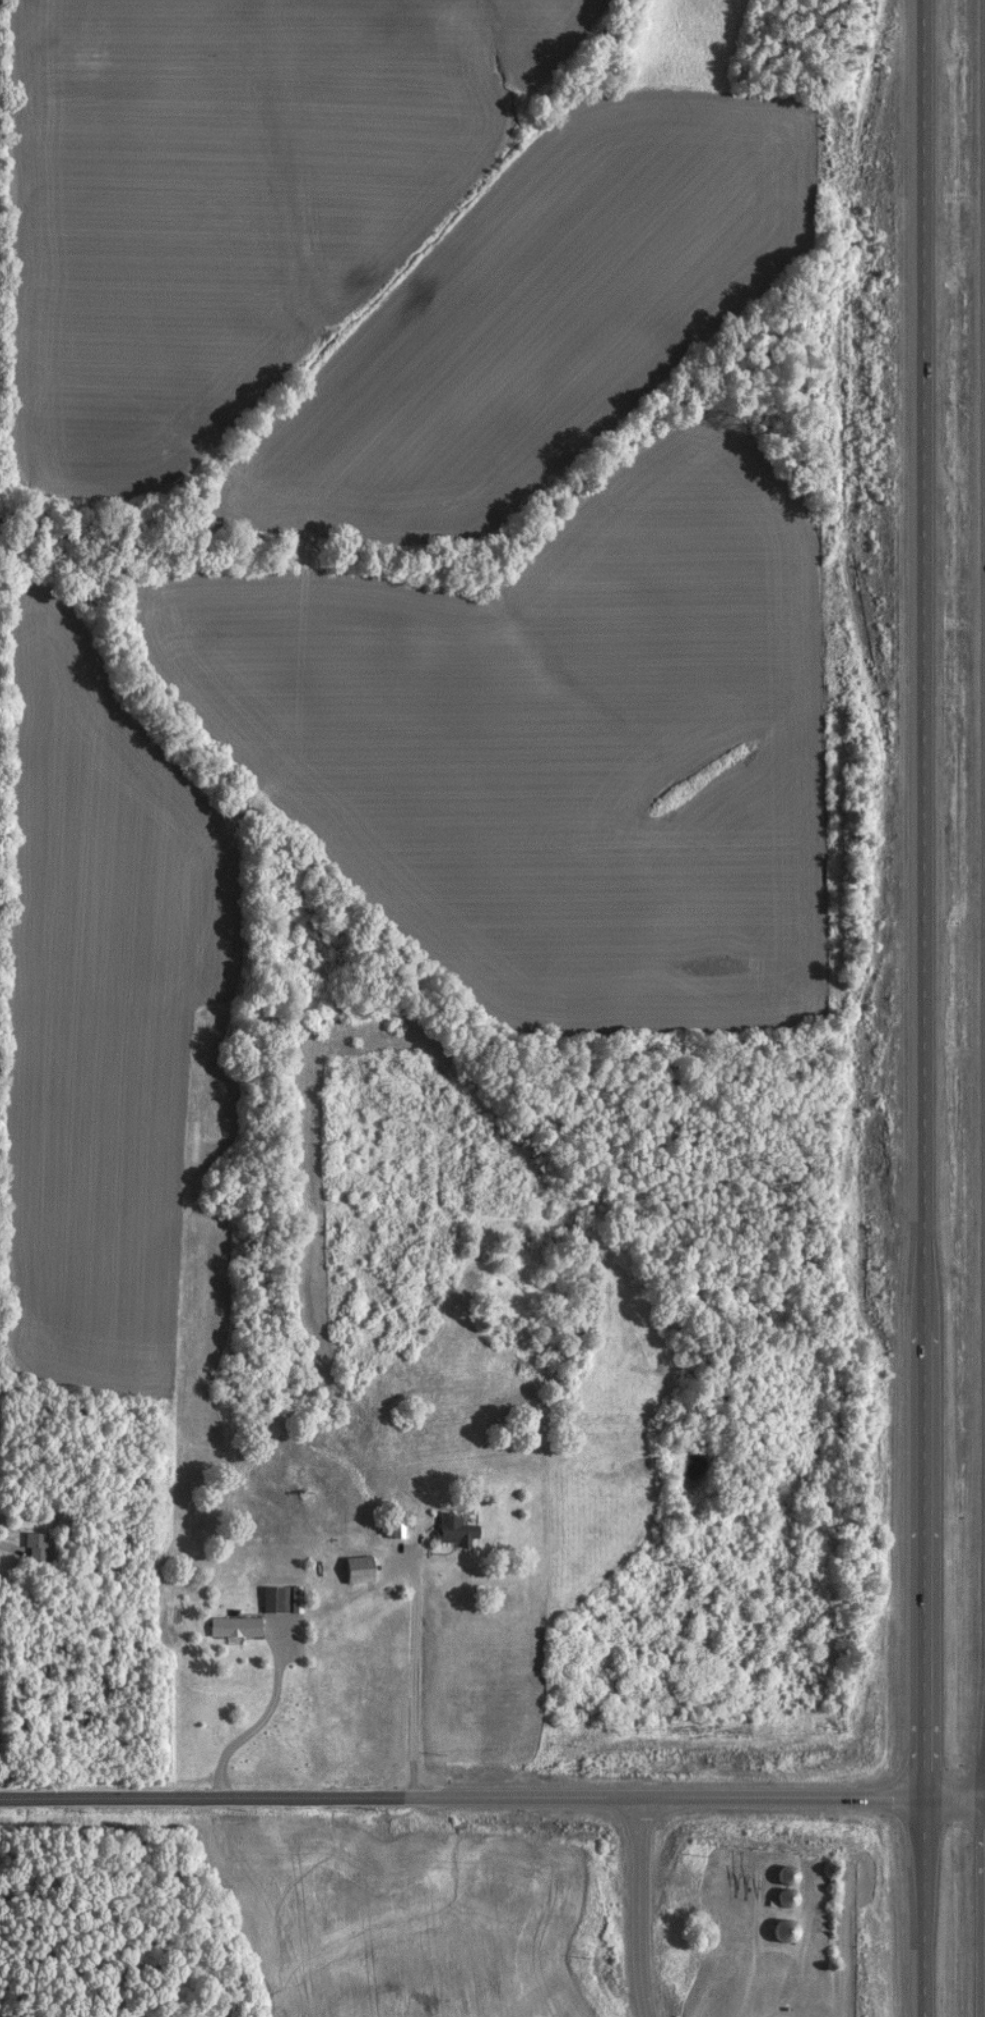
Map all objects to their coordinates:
road: (918, 1008)
building: (391, 1529)
building: (449, 1531)
building: (31, 1547)
building: (343, 1572)
building: (229, 1628)
road: (410, 1672)
road: (262, 1716)
road: (492, 1796)
building: (780, 1876)
building: (780, 1898)
road: (634, 1906)
building: (778, 1931)

